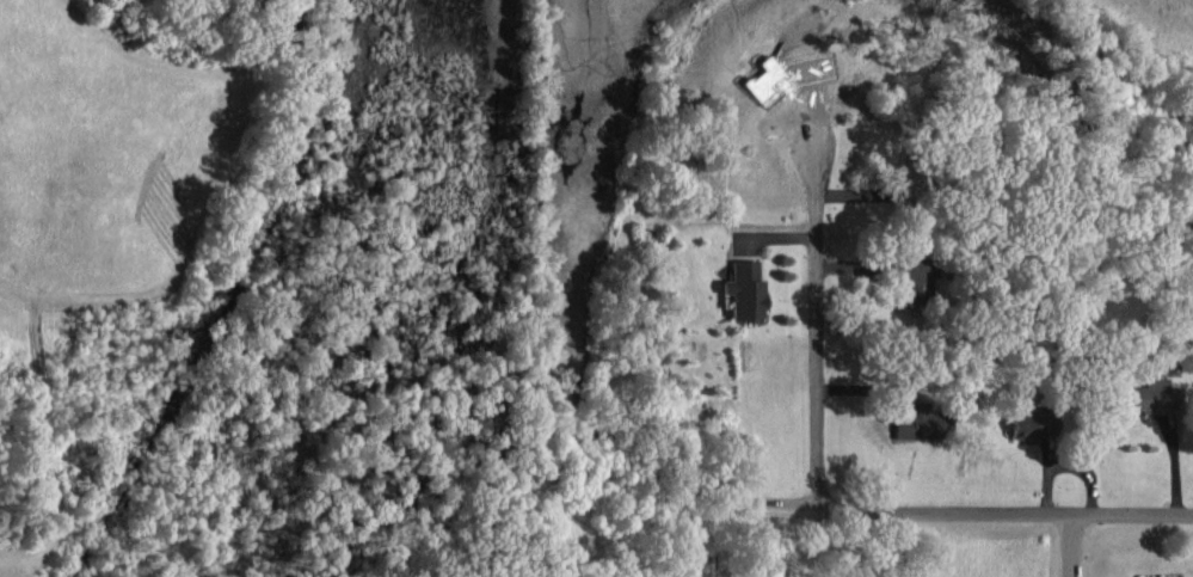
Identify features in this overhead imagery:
building: (910, 275)
building: (740, 288)
road: (812, 332)
building: (1145, 394)
building: (1021, 424)
road: (731, 508)
road: (1004, 512)
road: (1074, 545)
building: (1161, 576)

